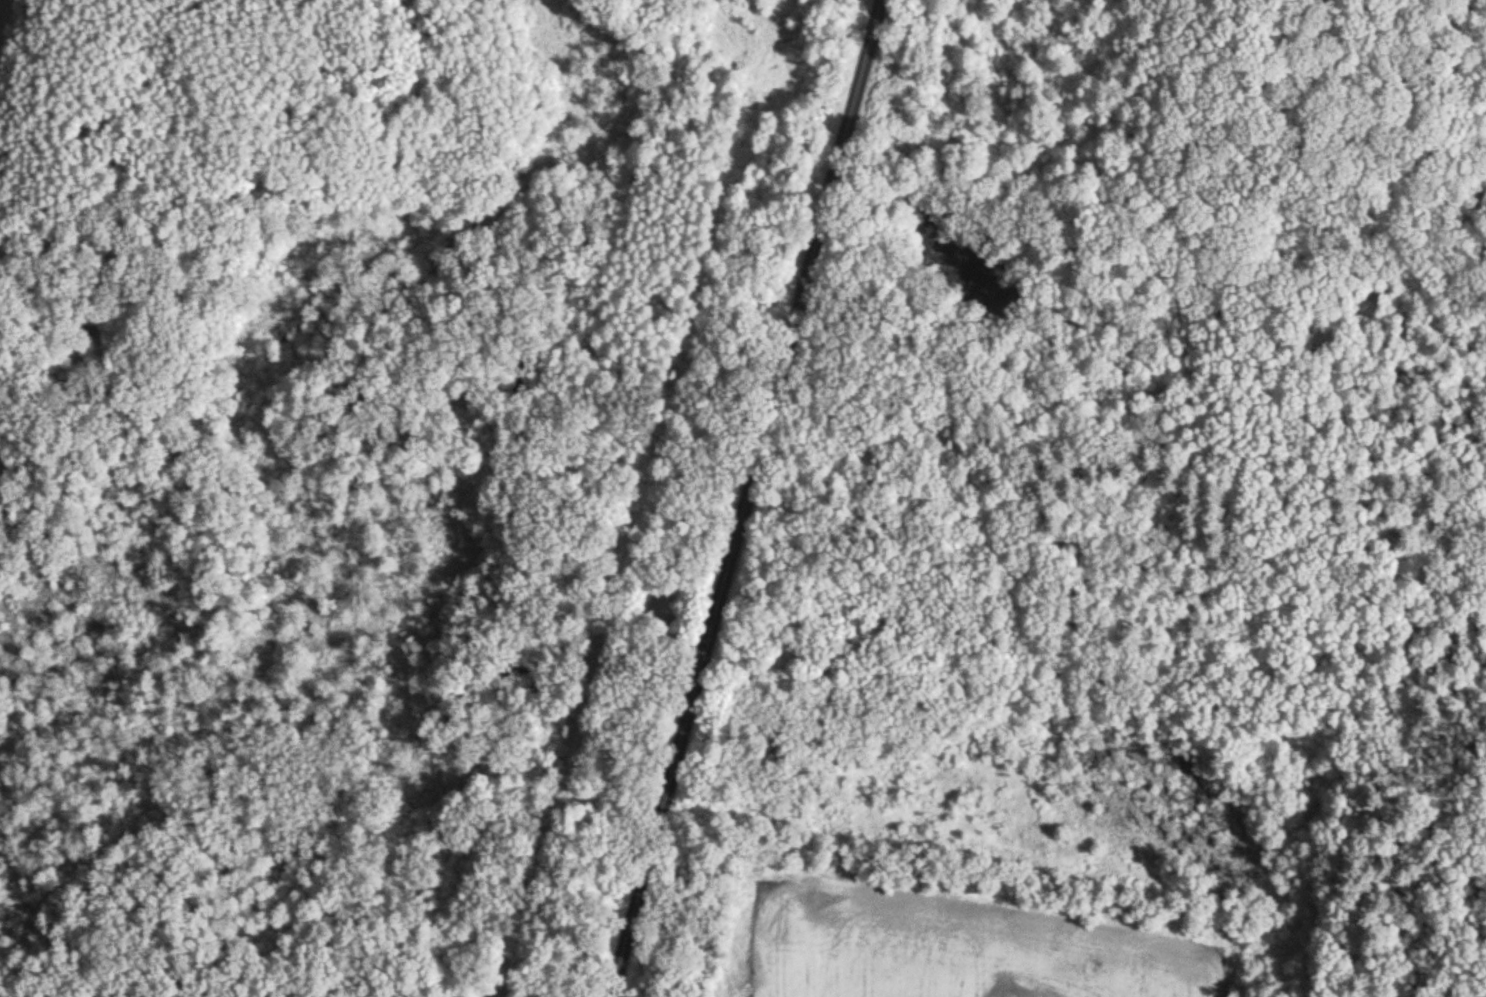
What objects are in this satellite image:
road: (752, 498)

